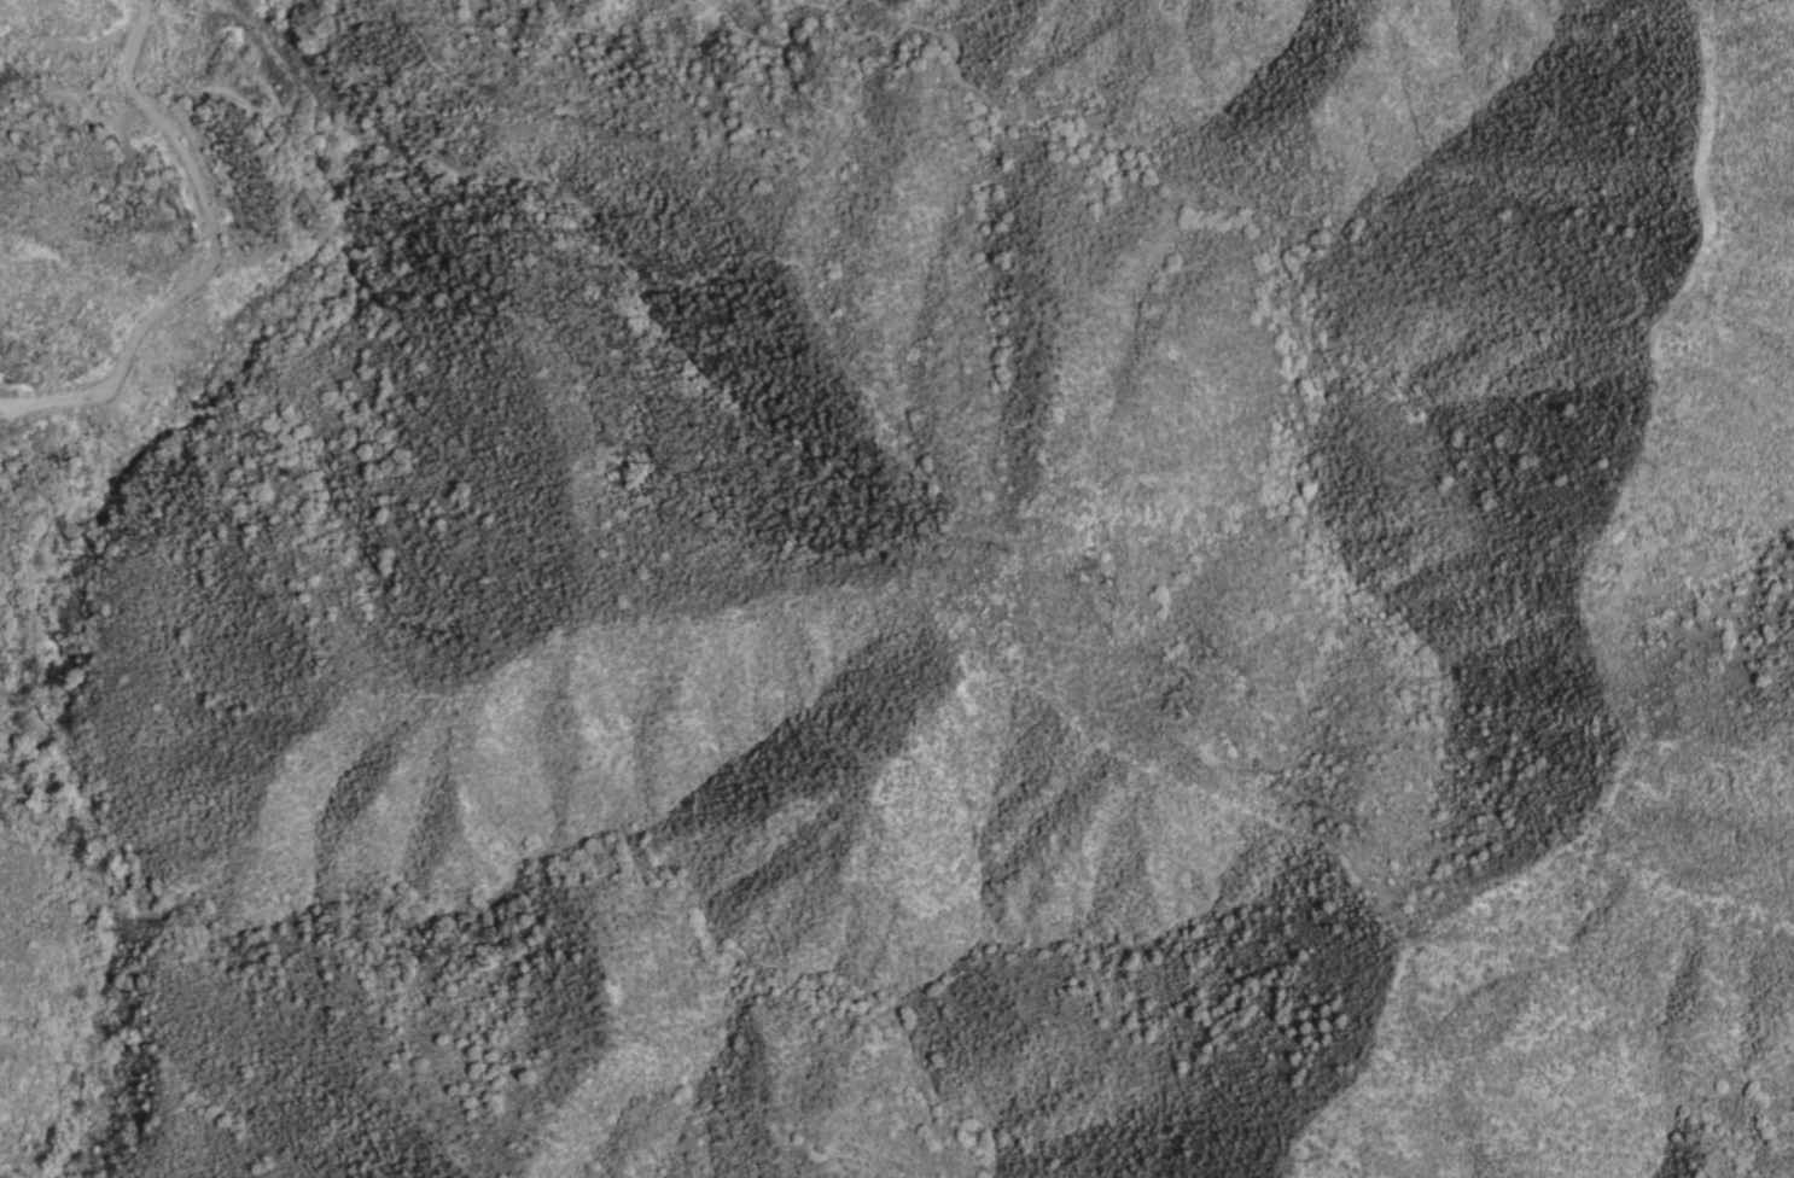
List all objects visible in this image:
road: (254, 98)
road: (226, 252)
road: (1606, 651)

